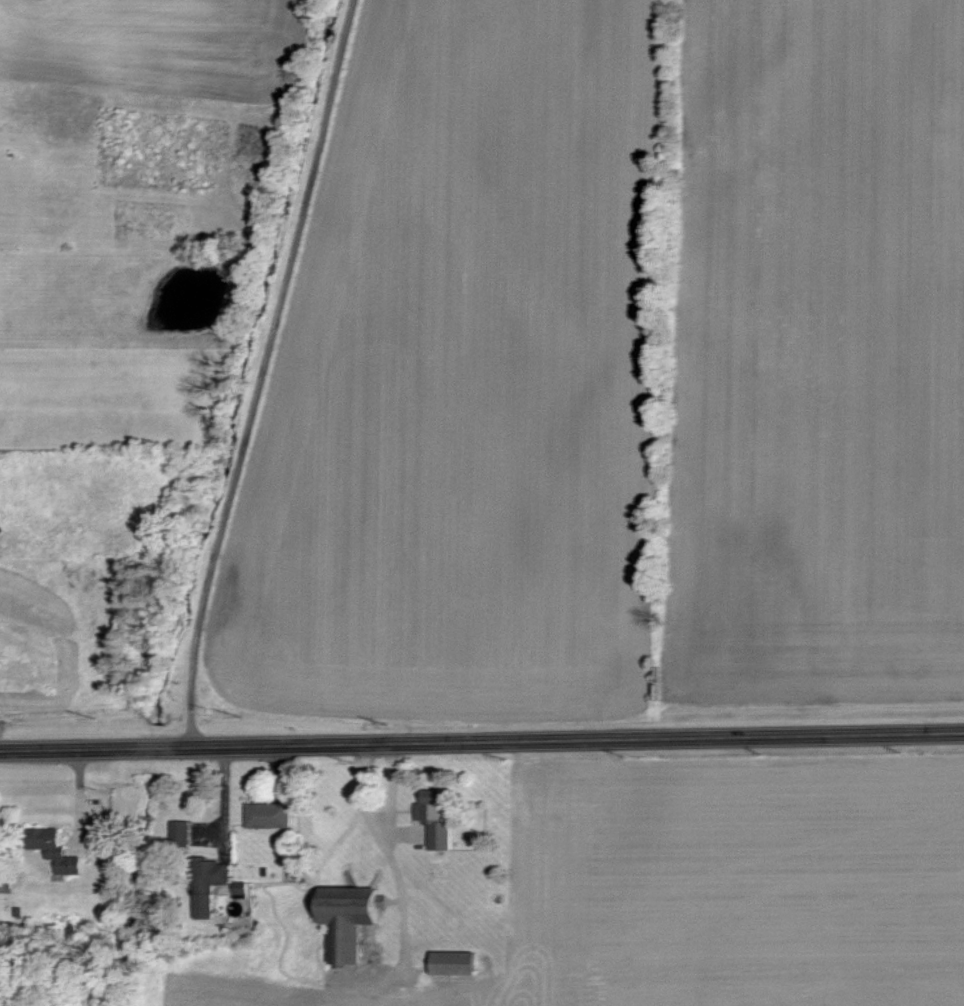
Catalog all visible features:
road: (258, 372)
road: (482, 741)
road: (226, 798)
road: (81, 799)
building: (272, 815)
building: (442, 817)
building: (184, 832)
building: (59, 850)
building: (213, 886)
building: (244, 893)
building: (362, 927)
building: (459, 964)

